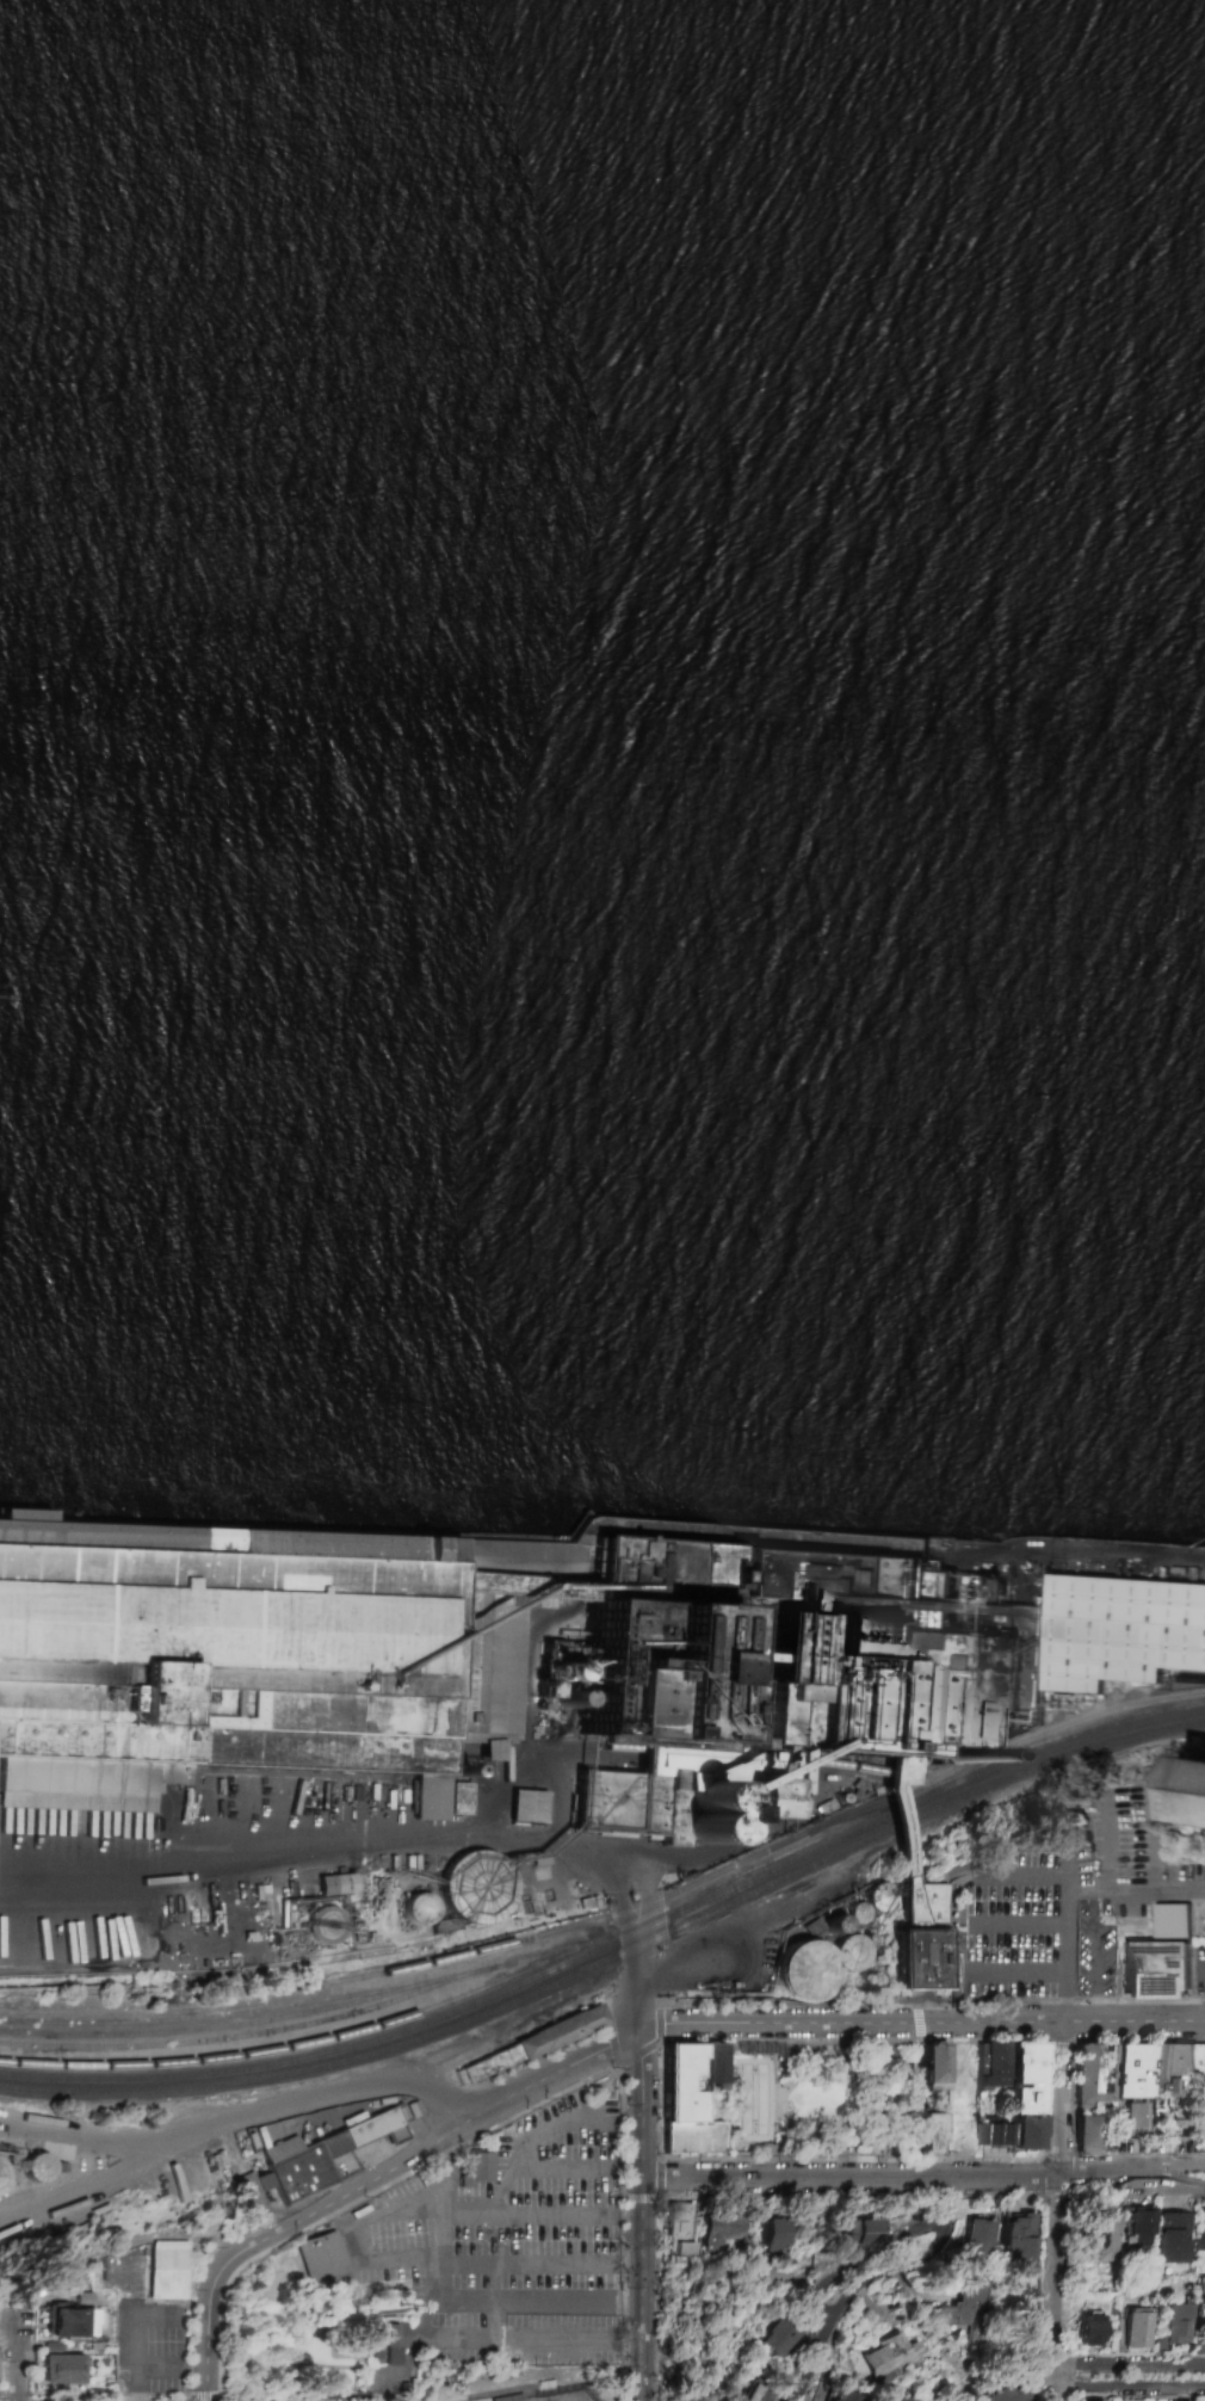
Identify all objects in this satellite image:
building: (855, 1646)
building: (259, 1652)
chimney: (933, 1753)
building: (1195, 1786)
building: (662, 1795)
building: (761, 1798)
building: (458, 1800)
building: (80, 1801)
building: (527, 1808)
railway: (889, 1811)
road: (1153, 1837)
road: (394, 1838)
road: (1105, 1840)
road: (1069, 1862)
road: (1026, 1871)
road: (616, 1875)
building: (335, 1884)
building: (477, 1889)
road: (1069, 1889)
railway: (675, 1895)
building: (923, 1902)
building: (854, 1908)
building: (420, 1909)
road: (1019, 1922)
railway: (613, 1946)
building: (855, 1953)
road: (1090, 1957)
building: (1160, 1957)
building: (921, 1959)
railway: (613, 1961)
road: (635, 1964)
railway: (513, 1965)
building: (805, 1971)
road: (1019, 1971)
road: (1203, 1971)
railway: (418, 1988)
railway: (197, 2019)
road: (925, 2026)
railway: (198, 2031)
railway: (224, 2041)
railway: (299, 2047)
building: (529, 2047)
building: (1199, 2061)
building: (712, 2063)
building: (933, 2064)
building: (1173, 2067)
building: (1114, 2073)
building: (1014, 2086)
park: (815, 2099)
road: (320, 2101)
road: (645, 2101)
building: (685, 2104)
building: (1137, 2117)
road: (512, 2119)
building: (928, 2132)
building: (1087, 2134)
building: (991, 2135)
road: (425, 2147)
road: (144, 2150)
building: (323, 2152)
road: (447, 2162)
road: (562, 2164)
road: (1175, 2165)
building: (38, 2167)
building: (477, 2167)
road: (896, 2172)
building: (1, 2177)
road: (1175, 2181)
road: (611, 2210)
road: (551, 2214)
road: (1055, 2214)
road: (357, 2222)
building: (1139, 2226)
parking lot: (500, 2230)
building: (680, 2230)
building: (722, 2232)
building: (855, 2232)
building: (1200, 2232)
building: (772, 2235)
road: (445, 2236)
building: (1100, 2238)
building: (1173, 2238)
building: (1018, 2239)
building: (978, 2242)
building: (323, 2258)
road: (527, 2263)
building: (166, 2267)
building: (767, 2275)
road: (877, 2279)
road: (643, 2288)
building: (1199, 2291)
building: (968, 2311)
road: (160, 2314)
building: (64, 2321)
building: (1172, 2326)
building: (1136, 2328)
building: (1088, 2329)
road: (138, 2331)
building: (779, 2335)
road: (455, 2337)
road: (580, 2338)
road: (211, 2339)
building: (387, 2339)
parking lot: (567, 2340)
road: (20, 2357)
building: (888, 2357)
road: (162, 2362)
road: (403, 2366)
building: (61, 2369)
road: (1059, 2374)
parking lot: (389, 2380)
building: (1008, 2393)
building: (754, 2394)
road: (206, 2395)
road: (103, 2396)
road: (192, 2396)
building: (842, 2396)
road: (191, 2397)
park: (563, 2397)
road: (190, 2400)

